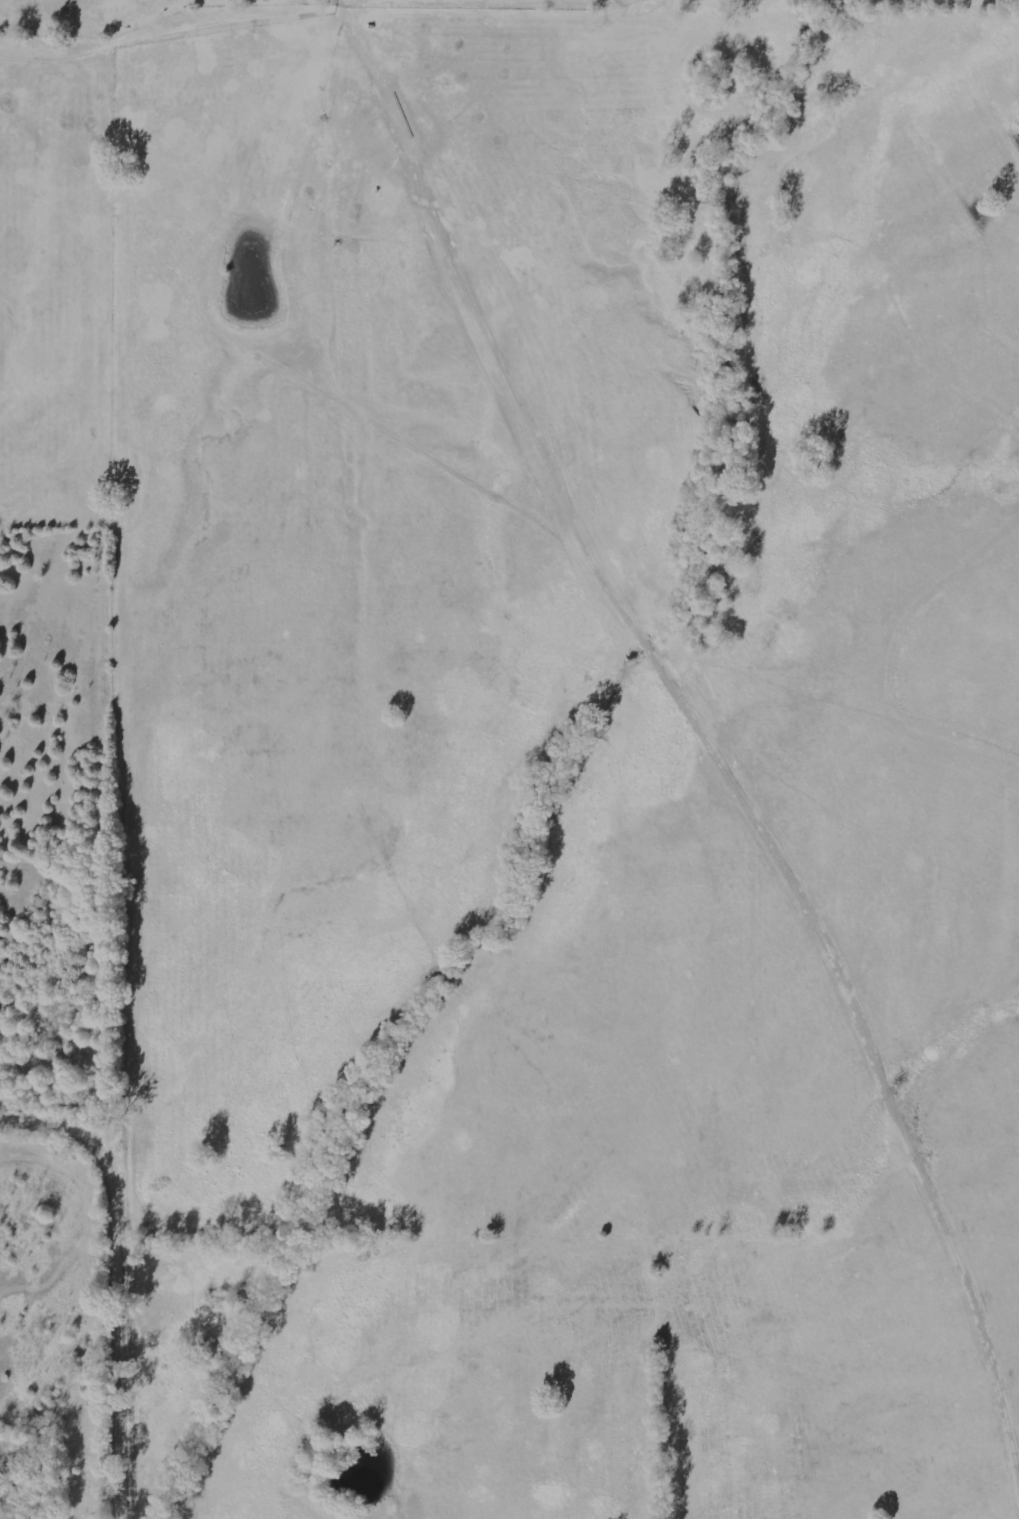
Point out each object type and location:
road: (125, 1276)

